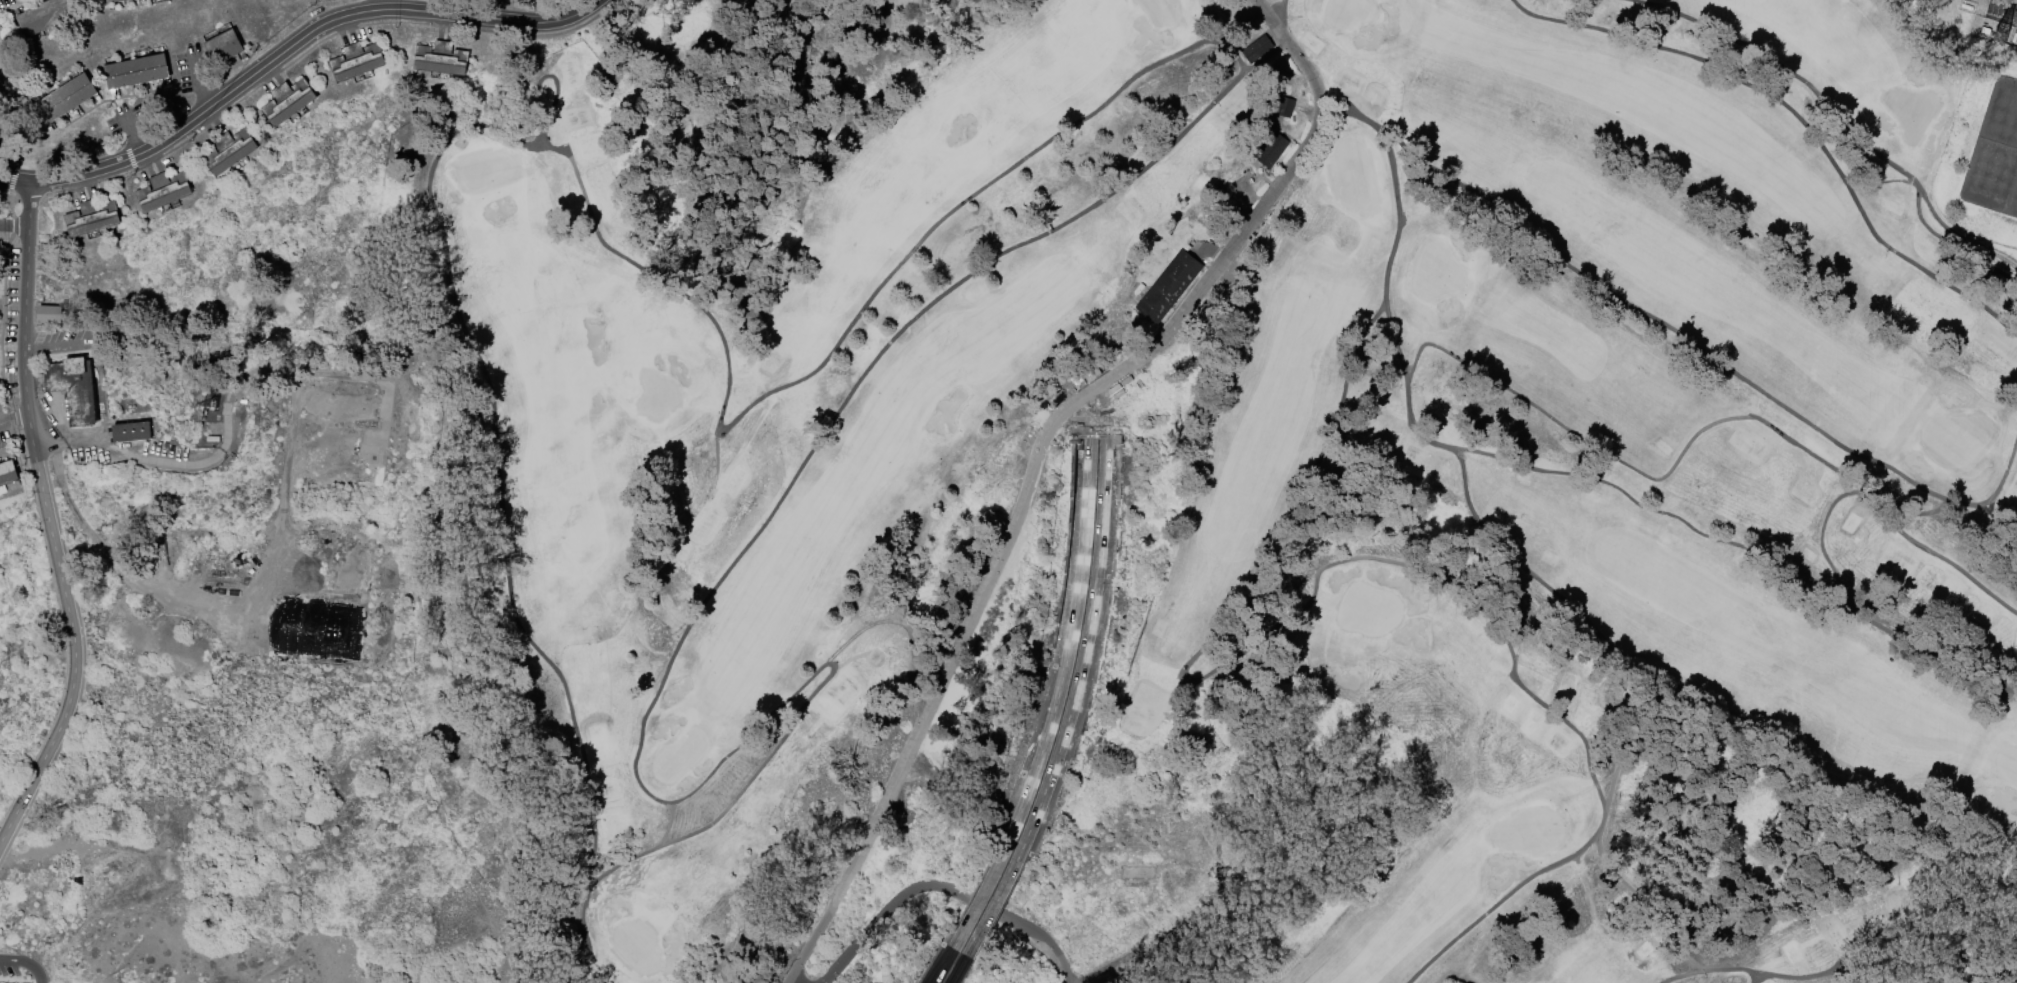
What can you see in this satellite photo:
building: (118, 1)
road: (2007, 2)
road: (376, 5)
park: (1159, 11)
road: (1277, 11)
park: (1347, 13)
building: (48, 16)
road: (1236, 25)
building: (1, 30)
road: (297, 39)
building: (226, 48)
building: (1255, 48)
building: (442, 60)
building: (358, 62)
building: (138, 74)
road: (198, 74)
road: (1800, 81)
road: (206, 96)
building: (67, 101)
building: (289, 102)
building: (1998, 102)
building: (1282, 107)
road: (1797, 118)
road: (131, 127)
road: (139, 144)
building: (1271, 150)
building: (231, 151)
park: (480, 170)
park: (1351, 178)
road: (14, 179)
building: (165, 192)
building: (93, 218)
road: (13, 227)
road: (1985, 263)
building: (1168, 286)
road: (23, 300)
building: (51, 315)
road: (836, 343)
road: (61, 345)
road: (30, 348)
road: (1704, 353)
road: (480, 386)
building: (76, 390)
road: (20, 417)
road: (7, 421)
parking lot: (3, 430)
building: (132, 433)
road: (1035, 455)
road: (142, 456)
park: (1322, 460)
building: (7, 472)
road: (1635, 472)
park: (1008, 491)
road: (1702, 537)
road: (1819, 540)
road: (1936, 556)
road: (111, 563)
road: (709, 592)
park: (1367, 610)
road: (73, 635)
road: (1200, 649)
road: (1066, 650)
road: (1080, 654)
park: (677, 755)
park: (2008, 762)
road: (667, 825)
park: (1529, 830)
road: (1603, 858)
road: (942, 888)
road: (976, 902)
road: (1498, 902)
road: (581, 908)
road: (990, 909)
park: (633, 947)
road: (13, 961)
road: (941, 966)
road: (957, 970)
road: (35, 971)
road: (1715, 971)
road: (1801, 977)

